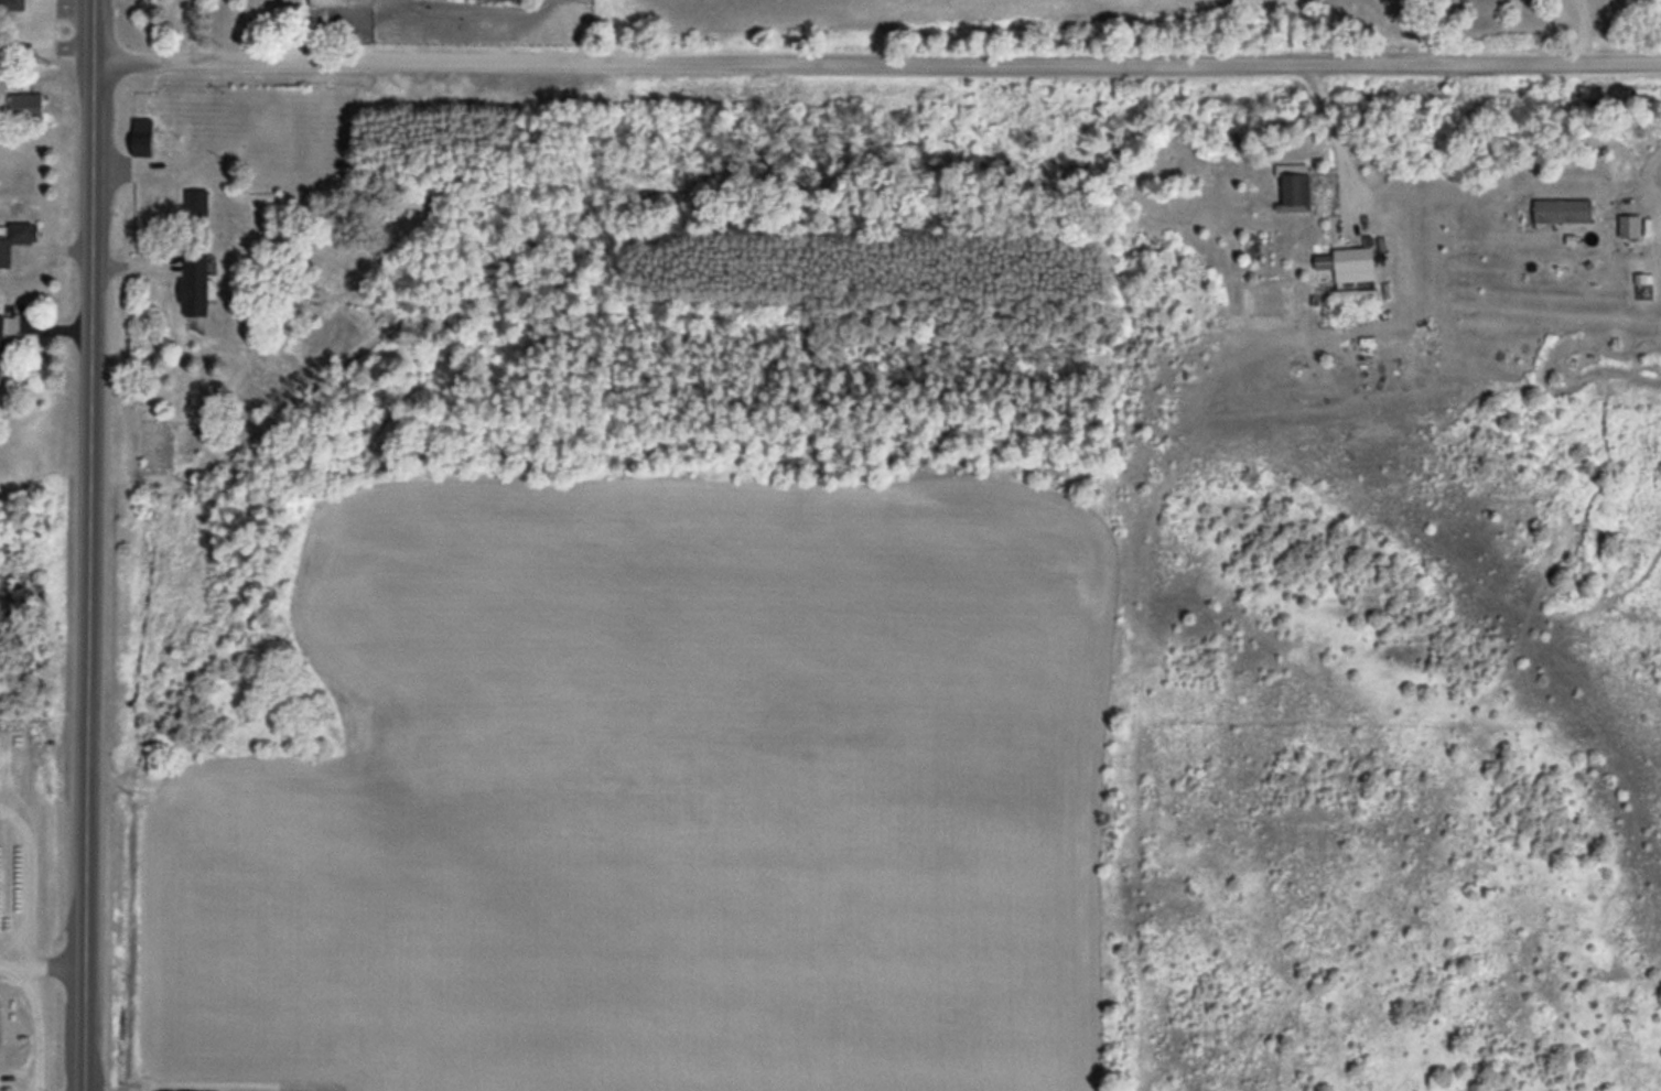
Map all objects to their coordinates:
building: (345, 3)
building: (13, 6)
road: (99, 31)
road: (880, 62)
building: (28, 105)
building: (144, 137)
building: (1296, 192)
building: (198, 197)
building: (1628, 226)
building: (15, 239)
building: (1355, 264)
building: (196, 287)
building: (2, 345)
road: (94, 576)

